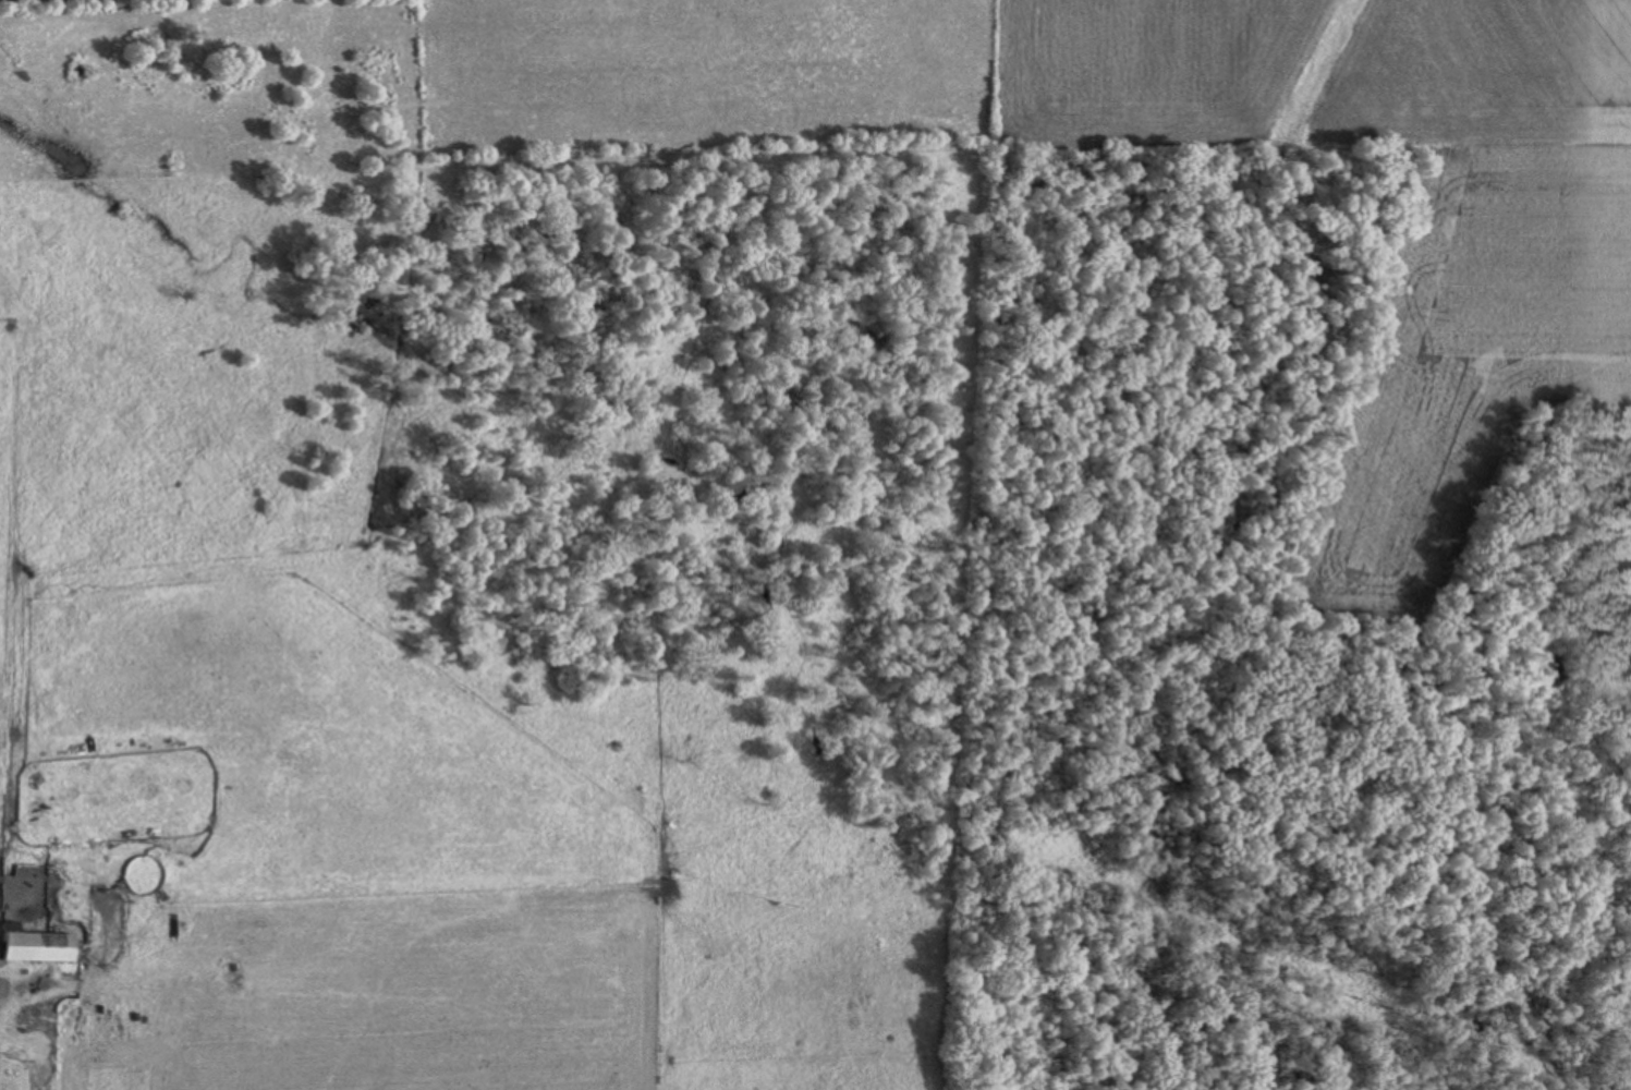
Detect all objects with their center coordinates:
building: (33, 945)

